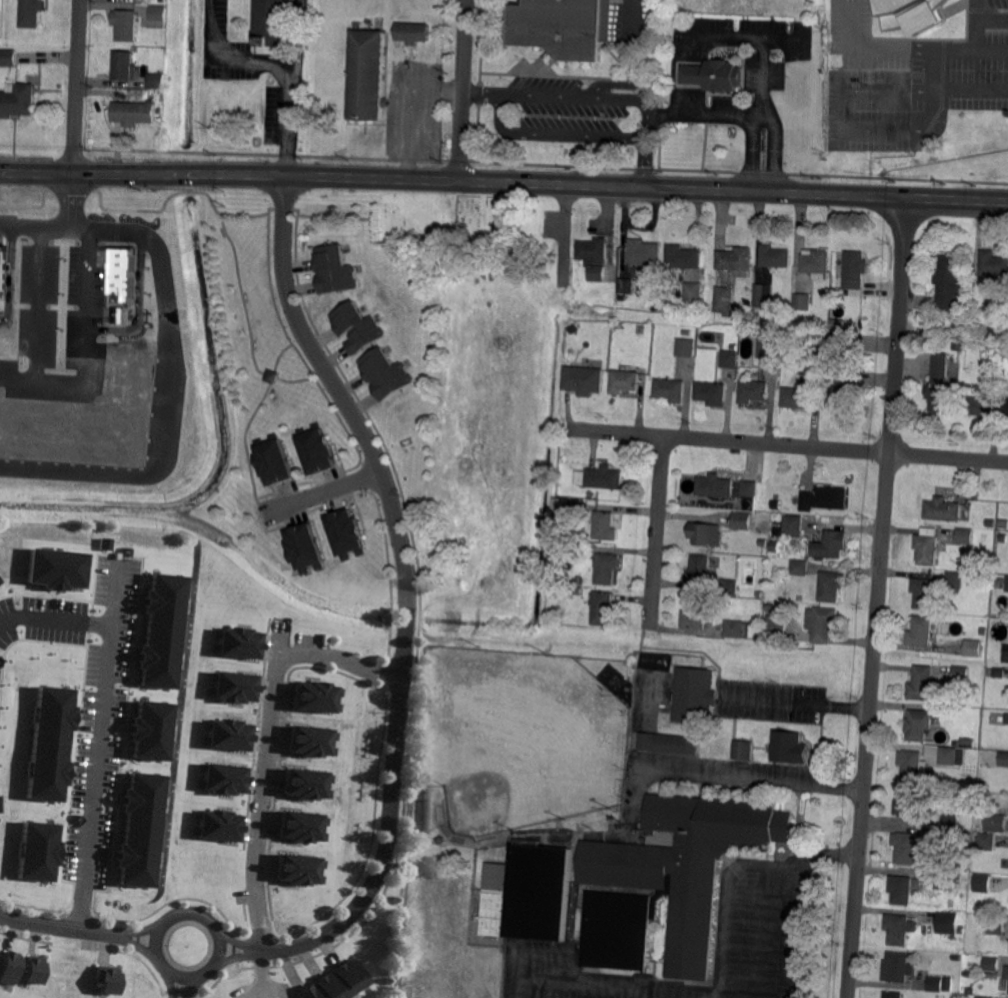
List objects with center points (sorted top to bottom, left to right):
building: (417, 6)
building: (33, 13)
building: (912, 14)
building: (157, 17)
road: (993, 17)
building: (276, 22)
building: (126, 24)
road: (207, 27)
building: (562, 27)
building: (414, 31)
road: (297, 34)
road: (763, 37)
road: (691, 48)
road: (916, 48)
building: (126, 66)
road: (931, 69)
building: (370, 74)
road: (690, 75)
building: (714, 76)
parking lot: (911, 77)
road: (286, 78)
road: (618, 80)
building: (156, 81)
road: (77, 86)
road: (969, 89)
building: (16, 90)
road: (477, 91)
road: (458, 93)
road: (618, 97)
road: (690, 99)
building: (135, 112)
road: (706, 113)
road: (764, 114)
road: (842, 128)
road: (429, 132)
road: (555, 134)
road: (48, 171)
road: (487, 187)
road: (942, 201)
road: (56, 224)
park: (449, 231)
building: (643, 253)
building: (775, 256)
building: (594, 257)
building: (684, 257)
building: (736, 261)
building: (816, 263)
building: (993, 263)
building: (2, 268)
building: (334, 270)
building: (855, 270)
building: (123, 275)
building: (948, 282)
building: (576, 285)
building: (626, 285)
building: (693, 295)
building: (763, 295)
building: (723, 300)
building: (802, 301)
road: (38, 303)
building: (944, 319)
building: (357, 327)
building: (686, 333)
building: (842, 343)
building: (958, 346)
road: (82, 347)
building: (686, 347)
building: (769, 347)
building: (815, 356)
building: (730, 358)
building: (811, 367)
building: (385, 374)
building: (272, 377)
building: (584, 379)
building: (625, 381)
building: (996, 382)
building: (940, 384)
road: (167, 385)
building: (671, 389)
building: (753, 390)
building: (712, 393)
building: (847, 393)
building: (797, 399)
building: (980, 406)
building: (1005, 407)
road: (786, 445)
building: (317, 450)
building: (274, 461)
building: (603, 478)
building: (714, 486)
road: (320, 487)
building: (749, 487)
building: (824, 499)
building: (776, 504)
building: (560, 508)
building: (942, 509)
building: (742, 521)
building: (989, 523)
building: (1003, 524)
building: (604, 526)
building: (792, 526)
road: (657, 533)
building: (347, 534)
building: (706, 535)
building: (965, 537)
building: (763, 543)
building: (832, 544)
building: (928, 544)
building: (774, 546)
building: (305, 549)
building: (763, 551)
building: (55, 568)
building: (605, 568)
building: (799, 568)
building: (699, 570)
building: (954, 581)
building: (1007, 585)
building: (729, 587)
building: (831, 587)
road: (404, 592)
building: (923, 593)
road: (114, 596)
road: (878, 599)
building: (602, 608)
building: (694, 615)
building: (823, 624)
building: (775, 627)
building: (733, 630)
building: (160, 631)
building: (921, 631)
building: (237, 643)
building: (972, 649)
building: (1002, 655)
road: (341, 657)
building: (998, 672)
building: (960, 676)
building: (922, 683)
building: (232, 687)
building: (694, 695)
building: (317, 698)
road: (796, 704)
building: (1007, 719)
road: (102, 721)
building: (918, 725)
building: (150, 729)
building: (227, 735)
park: (526, 738)
building: (49, 742)
building: (312, 742)
building: (967, 742)
building: (667, 746)
building: (790, 748)
building: (705, 750)
building: (742, 750)
building: (949, 756)
building: (1004, 758)
building: (911, 765)
road: (720, 777)
building: (223, 780)
building: (424, 782)
building: (308, 785)
road: (263, 786)
building: (982, 786)
building: (911, 802)
building: (949, 819)
building: (996, 823)
building: (218, 826)
building: (304, 827)
building: (140, 829)
building: (968, 837)
building: (955, 839)
building: (442, 841)
building: (985, 841)
building: (37, 849)
building: (908, 849)
building: (300, 868)
road: (733, 869)
building: (958, 878)
building: (944, 879)
building: (670, 881)
building: (981, 881)
building: (902, 889)
building: (529, 894)
building: (947, 923)
road: (61, 925)
building: (997, 925)
road: (145, 927)
road: (797, 928)
building: (899, 929)
building: (961, 929)
road: (759, 931)
road: (141, 943)
road: (255, 949)
road: (545, 956)
building: (991, 965)
building: (898, 967)
building: (9, 968)
road: (169, 968)
building: (34, 972)
building: (1007, 972)
building: (968, 973)
building: (105, 979)
road: (573, 982)
building: (339, 983)
road: (174, 984)
building: (940, 984)
road: (191, 986)
building: (894, 995)
building: (979, 997)

